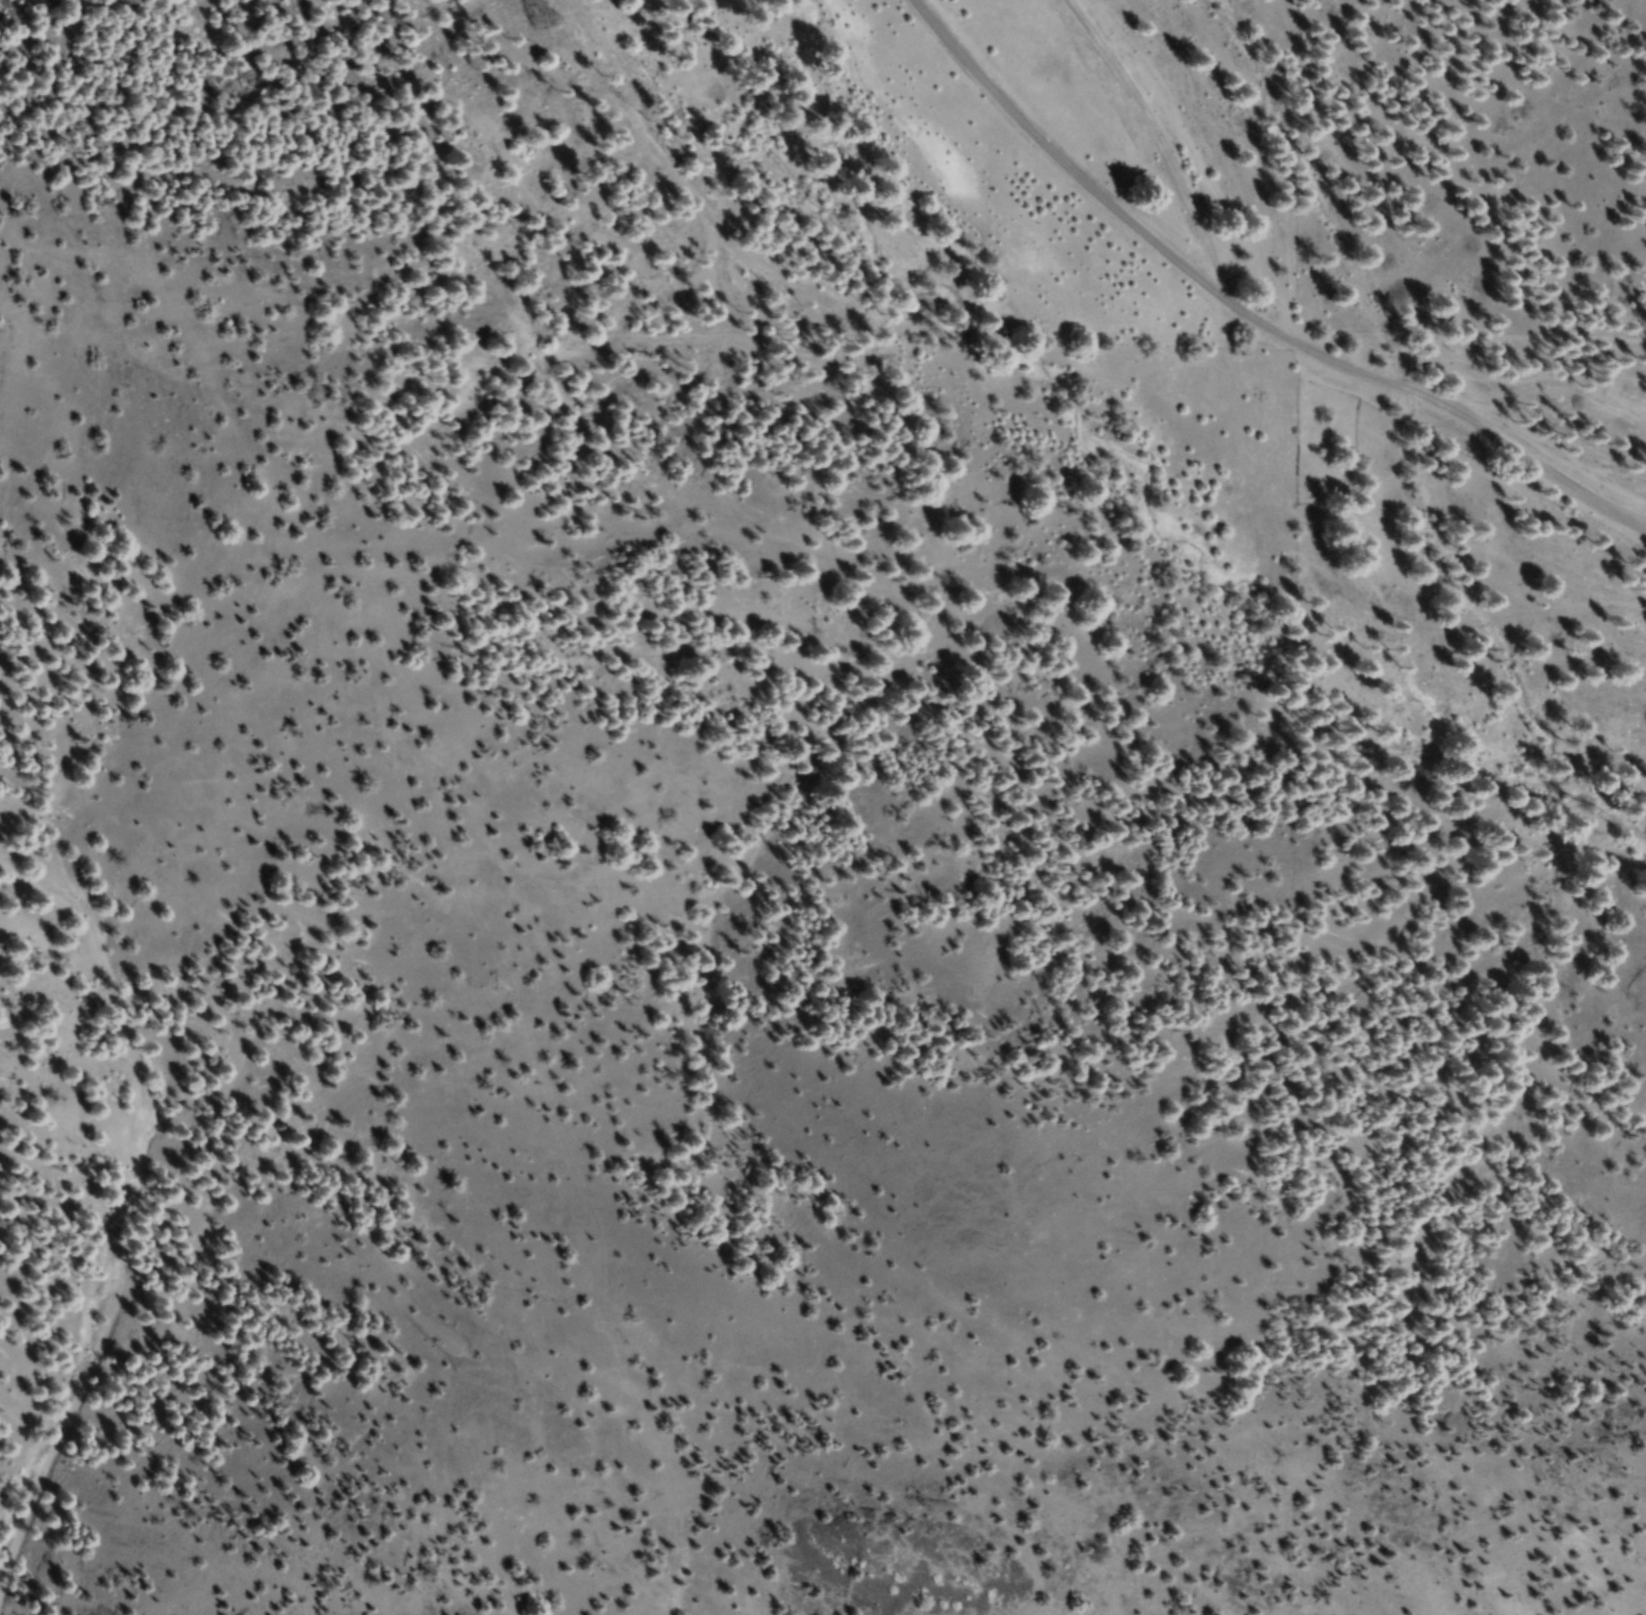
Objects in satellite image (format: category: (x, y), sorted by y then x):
road: (1285, 143)
road: (1247, 304)

